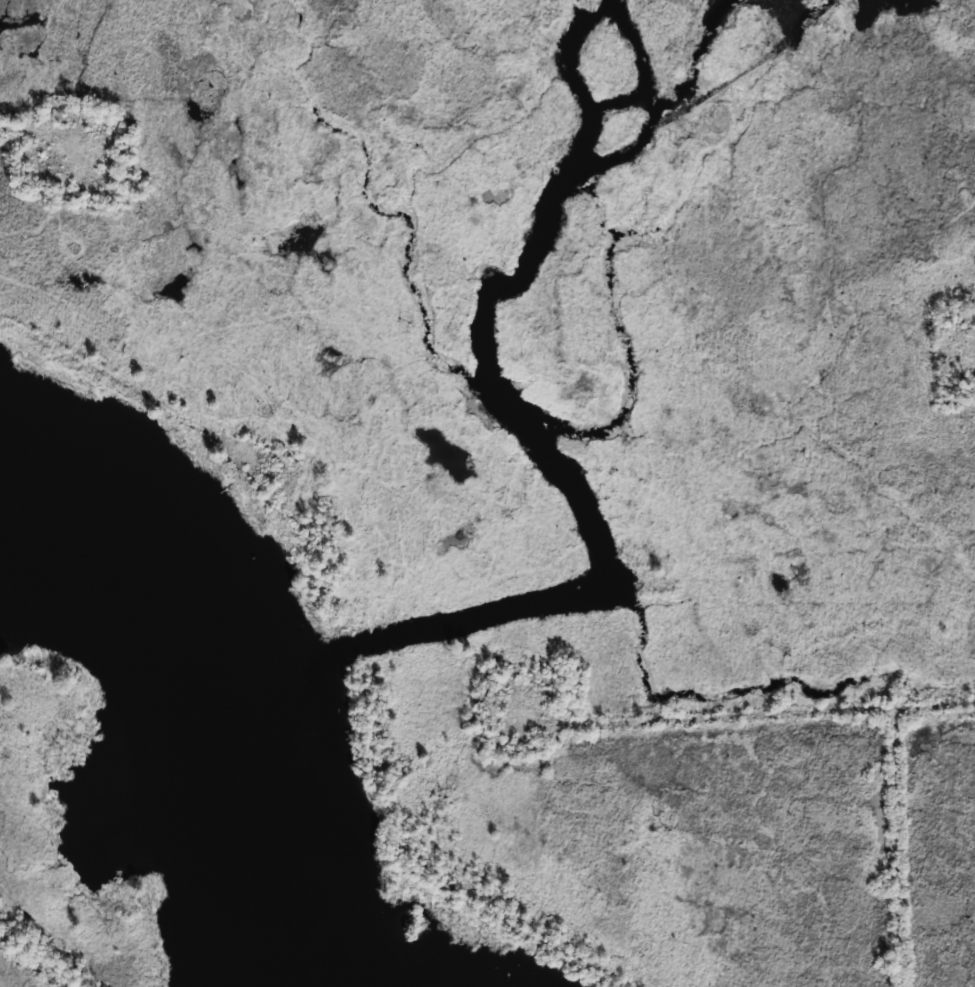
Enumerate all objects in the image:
road: (55, 130)
road: (969, 355)
road: (131, 386)
river: (213, 695)
road: (718, 718)
road: (895, 849)

